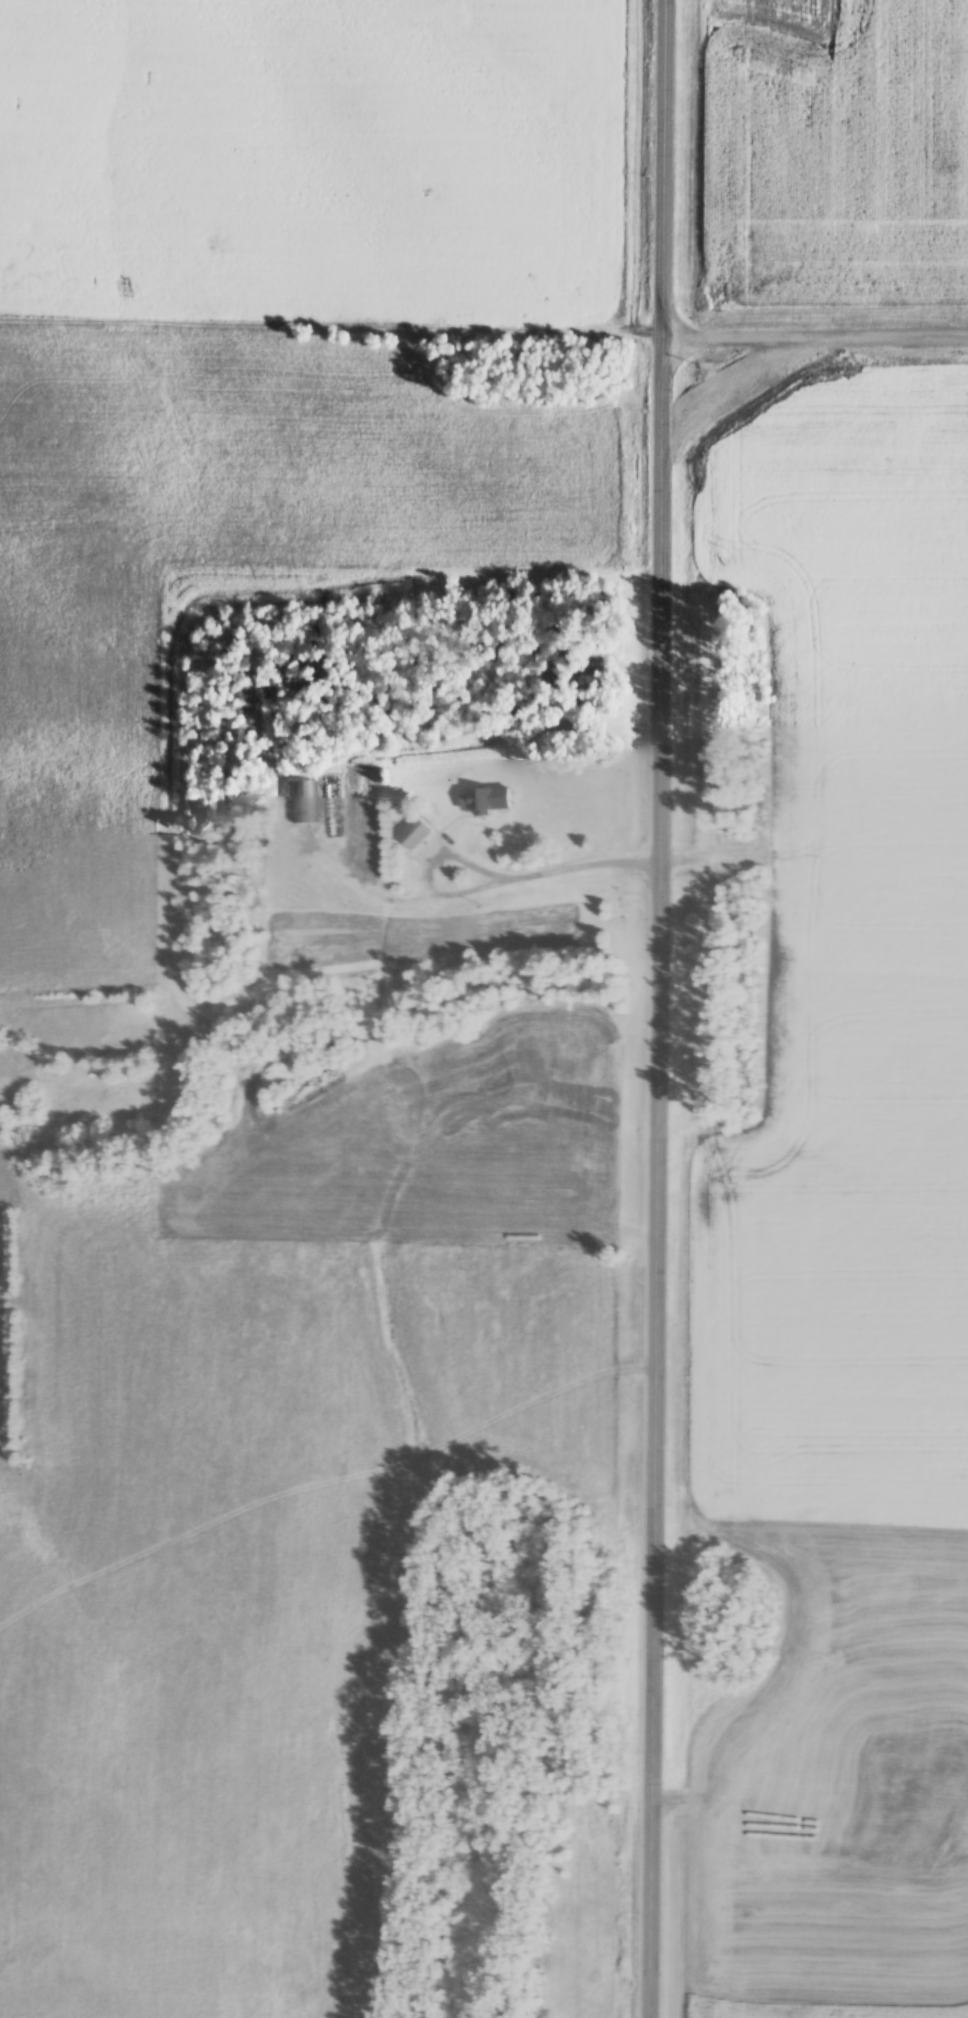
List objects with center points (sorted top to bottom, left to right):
road: (671, 168)
road: (819, 335)
building: (302, 801)
building: (477, 802)
building: (411, 834)
road: (443, 847)
road: (585, 861)
road: (666, 1177)

